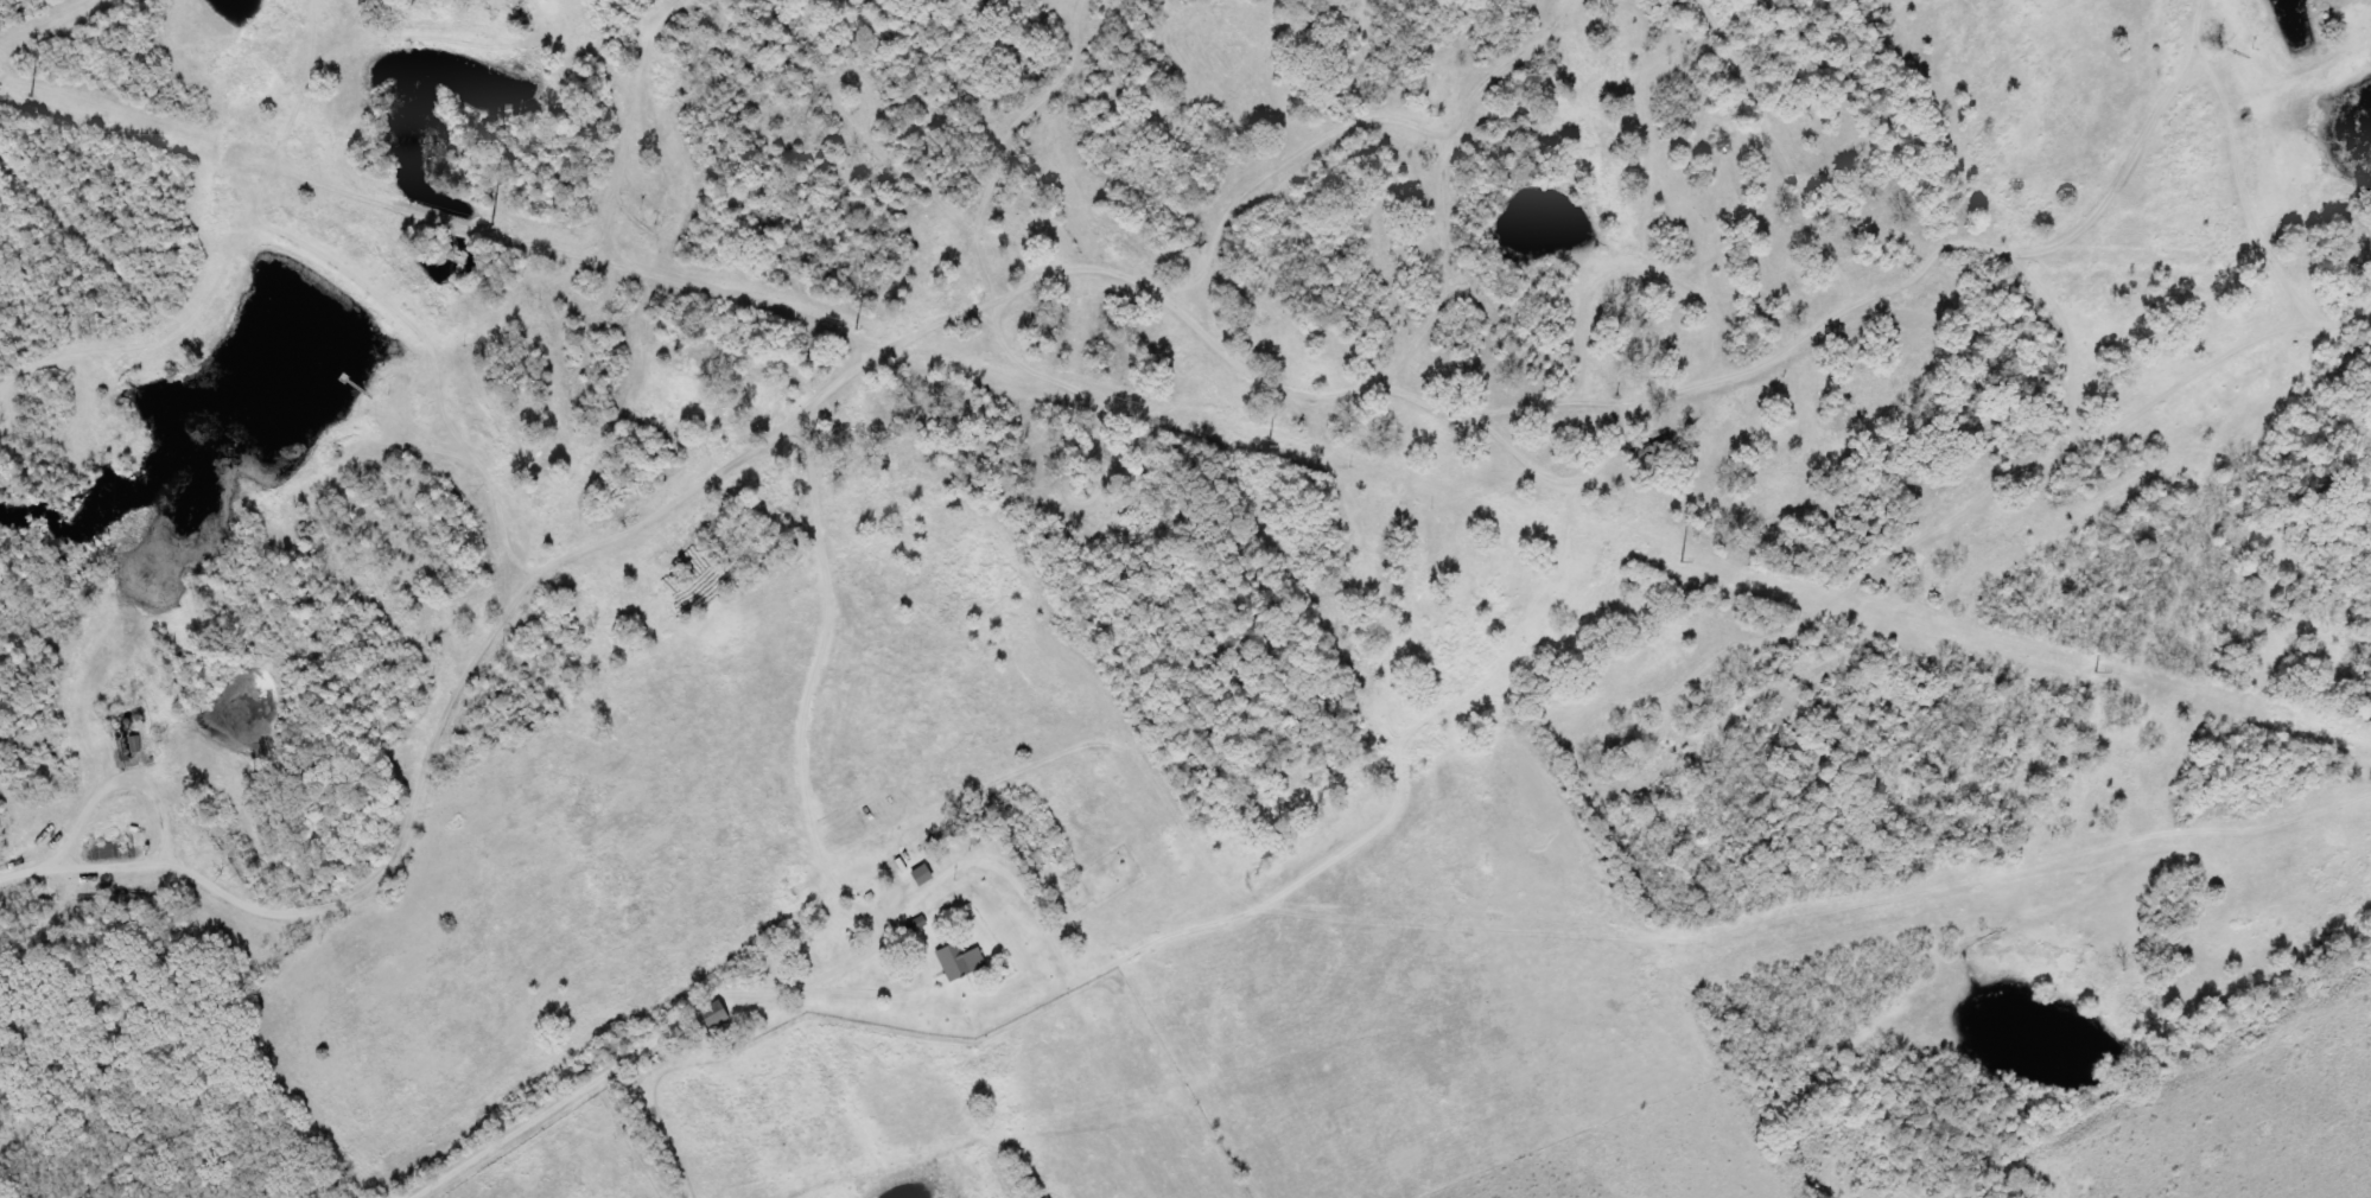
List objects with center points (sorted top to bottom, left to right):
building: (132, 743)
road: (165, 809)
building: (202, 831)
road: (21, 871)
building: (954, 960)
road: (923, 964)
building: (708, 1014)
road: (604, 1073)

